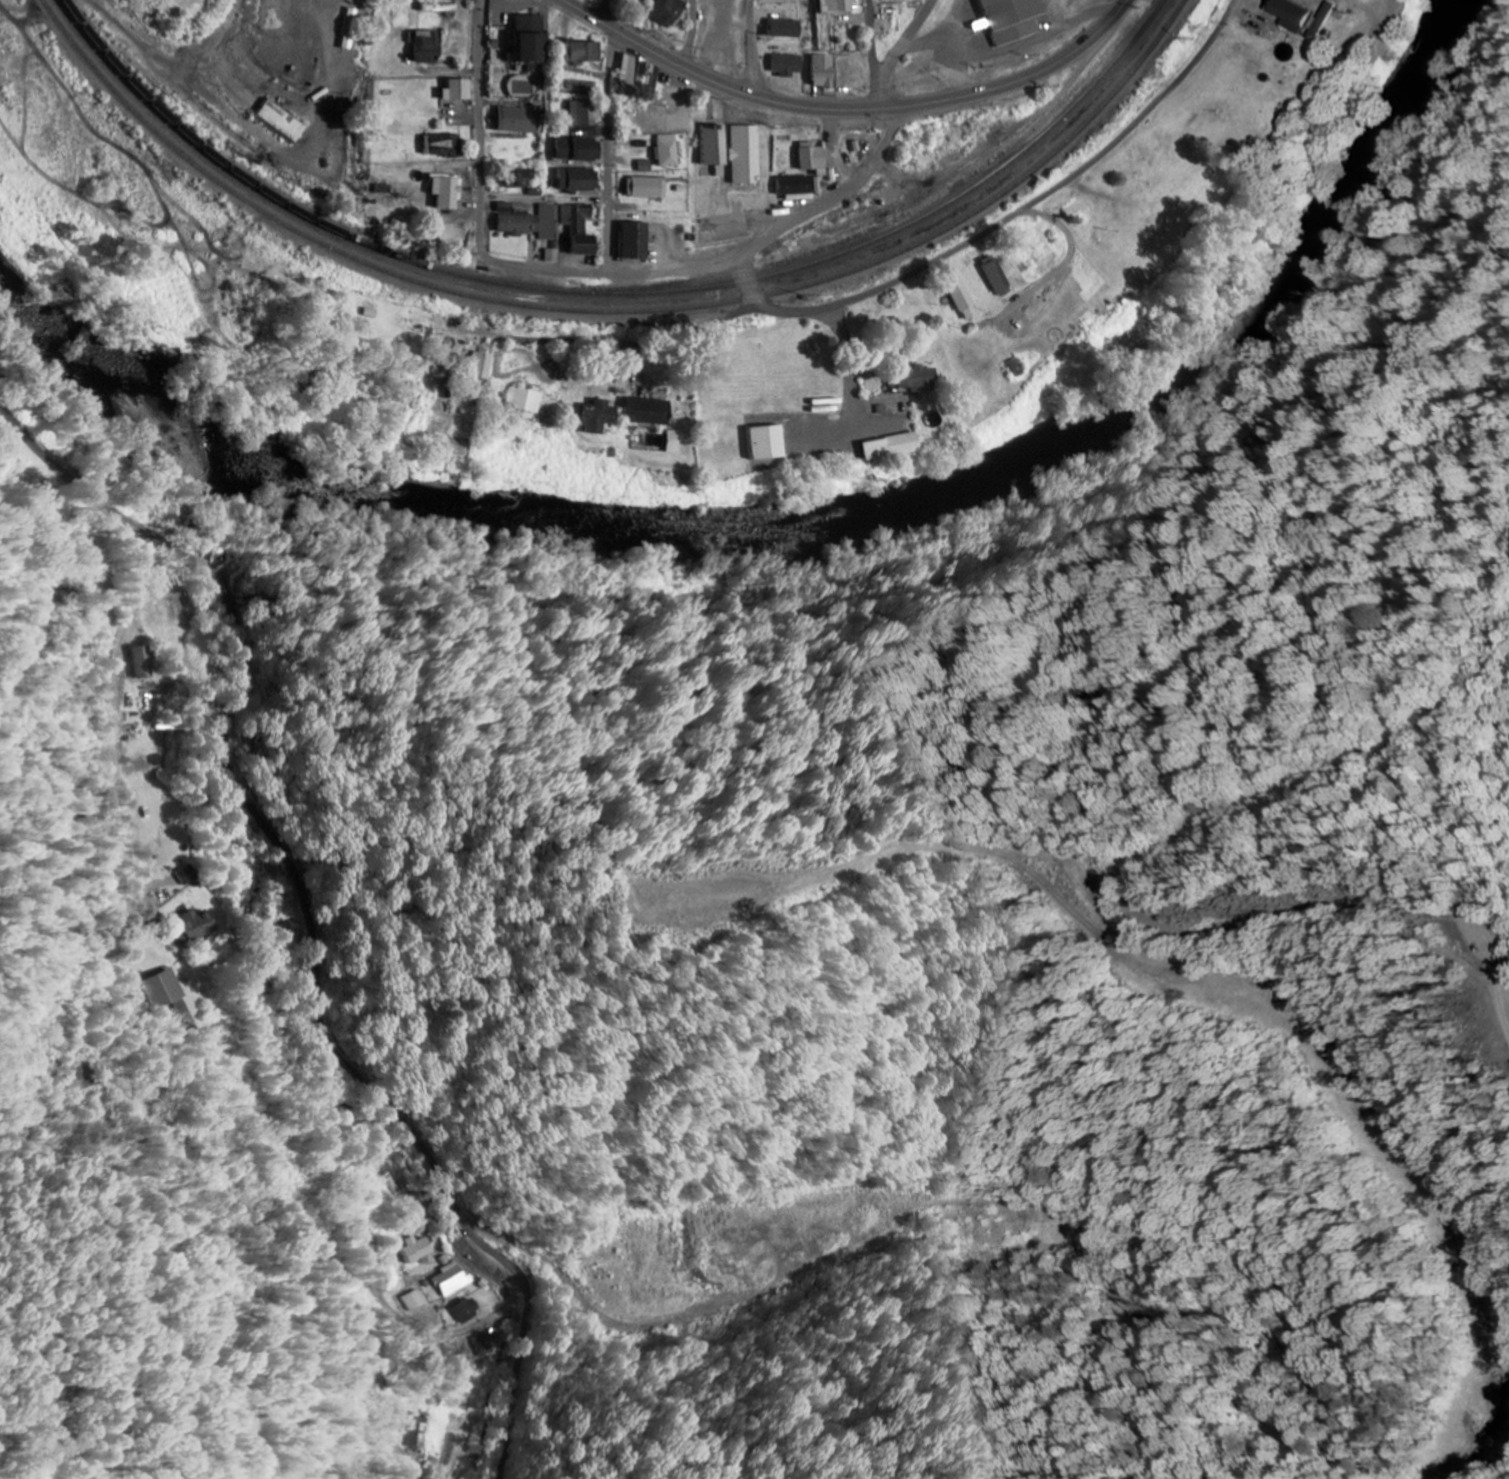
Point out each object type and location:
building: (839, 7)
building: (668, 12)
building: (1307, 16)
road: (923, 18)
building: (1003, 21)
building: (786, 28)
road: (692, 34)
building: (532, 43)
building: (429, 47)
road: (753, 47)
building: (584, 52)
road: (894, 61)
building: (788, 65)
building: (630, 68)
building: (823, 72)
road: (1020, 79)
road: (718, 83)
building: (459, 90)
building: (584, 114)
road: (482, 117)
building: (284, 121)
building: (520, 121)
road: (610, 136)
building: (446, 145)
building: (715, 145)
building: (579, 149)
building: (668, 151)
road: (879, 158)
building: (814, 159)
building: (522, 179)
building: (579, 180)
building: (798, 187)
building: (647, 188)
building: (447, 193)
road: (1031, 205)
building: (531, 222)
building: (581, 229)
building: (637, 241)
building: (554, 256)
road: (538, 269)
road: (681, 271)
building: (997, 276)
road: (748, 286)
railway: (615, 294)
building: (965, 300)
railway: (616, 312)
building: (483, 366)
building: (918, 381)
building: (525, 399)
building: (651, 412)
building: (600, 417)
building: (675, 442)
building: (769, 443)
building: (892, 447)
river: (809, 529)
building: (143, 663)
road: (117, 704)
building: (187, 876)
road: (310, 912)
building: (199, 926)
building: (161, 990)
building: (420, 1250)
building: (454, 1281)
building: (417, 1302)
building: (469, 1311)
road: (464, 1335)
road: (415, 1390)
building: (419, 1435)

